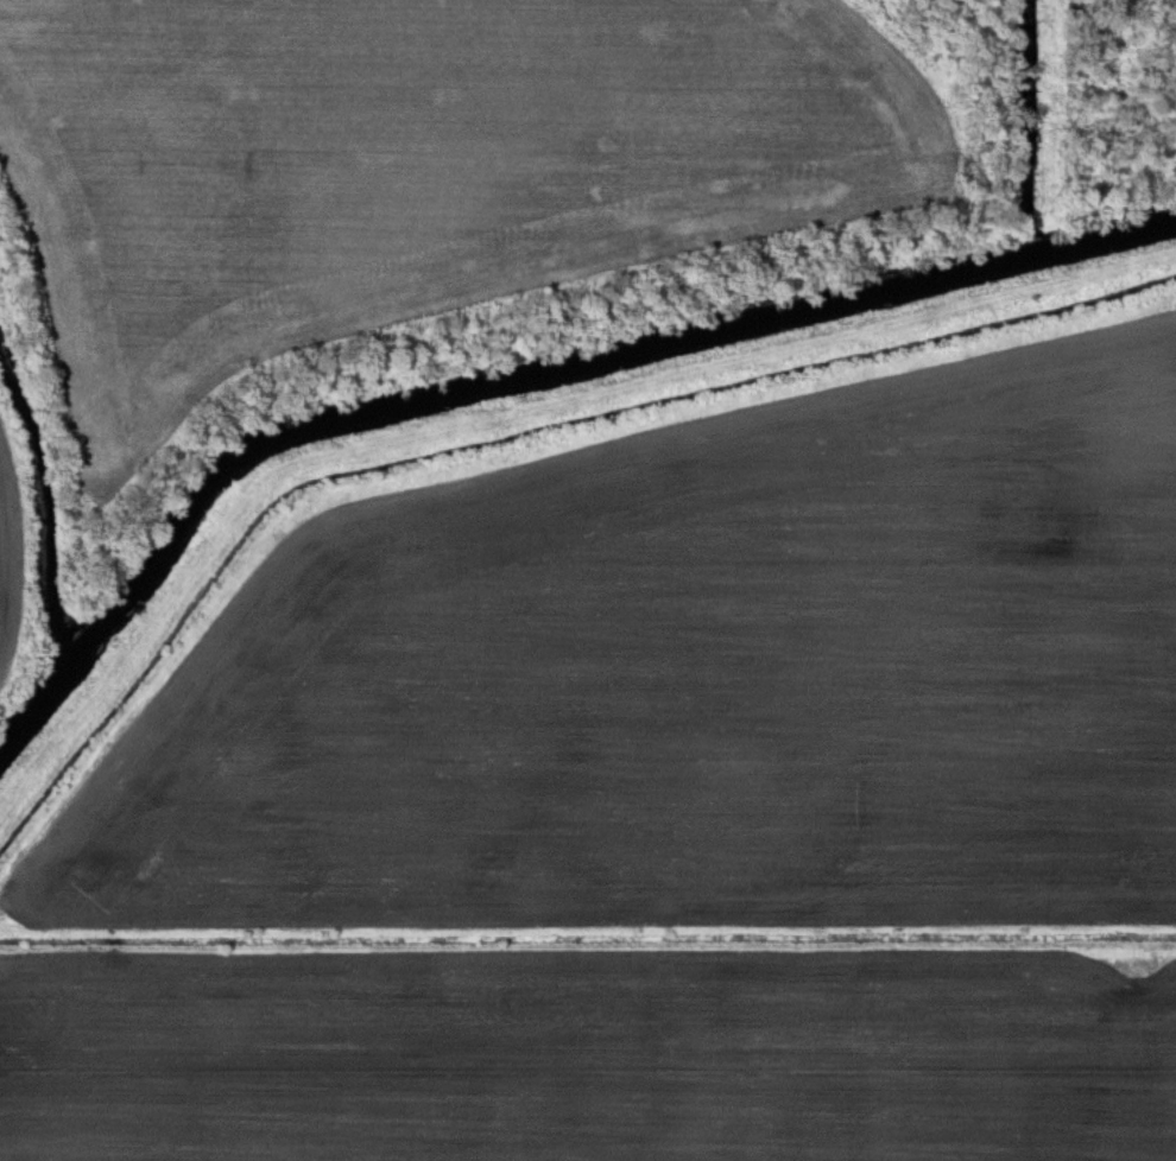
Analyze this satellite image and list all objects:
river: (586, 357)
crop: (6, 559)
river: (39, 687)

